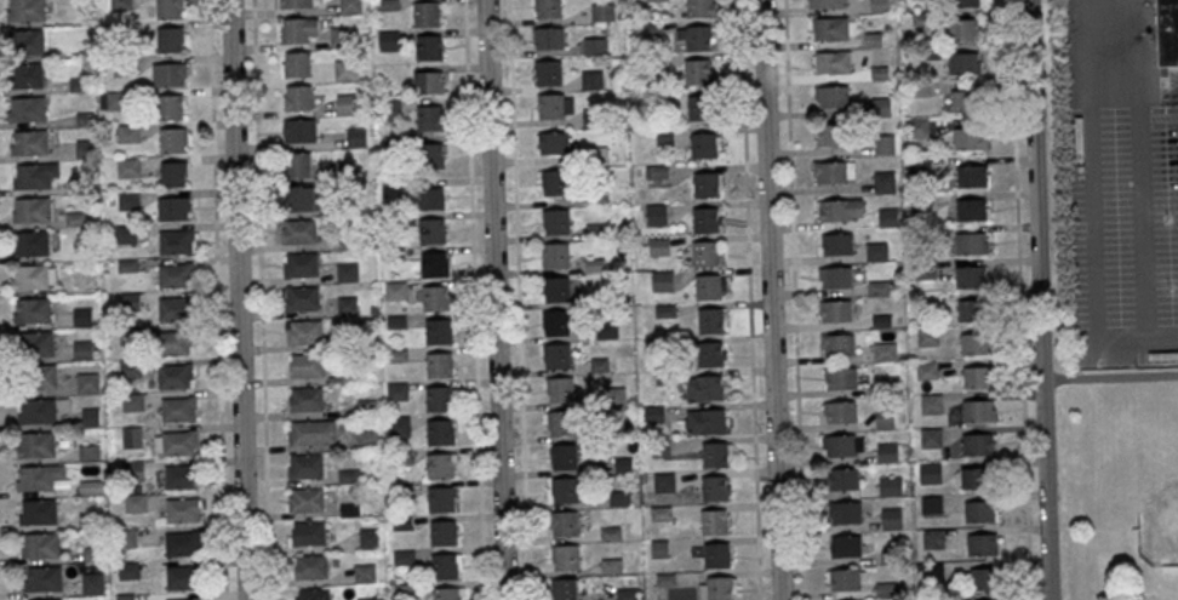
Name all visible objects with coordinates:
building: (828, 2)
building: (966, 2)
building: (294, 4)
building: (879, 5)
building: (349, 6)
building: (171, 8)
building: (548, 8)
building: (699, 8)
building: (25, 10)
building: (602, 12)
building: (428, 13)
building: (831, 28)
building: (299, 29)
building: (965, 29)
building: (1166, 33)
building: (338, 36)
building: (548, 38)
building: (698, 38)
building: (170, 39)
building: (388, 40)
building: (25, 41)
building: (429, 46)
building: (595, 46)
building: (831, 62)
building: (296, 63)
building: (962, 63)
building: (344, 69)
building: (548, 72)
building: (698, 72)
building: (168, 74)
building: (24, 75)
building: (593, 79)
building: (428, 81)
building: (831, 95)
building: (298, 97)
building: (111, 101)
building: (965, 101)
building: (347, 103)
building: (170, 105)
building: (550, 105)
building: (389, 107)
building: (700, 108)
building: (27, 109)
building: (429, 118)
building: (919, 127)
building: (299, 130)
building: (830, 133)
building: (356, 137)
building: (665, 137)
building: (971, 138)
building: (172, 139)
building: (30, 142)
building: (553, 142)
building: (885, 143)
building: (703, 145)
building: (434, 156)
building: (299, 164)
building: (920, 164)
building: (128, 167)
building: (830, 171)
building: (173, 173)
building: (972, 175)
building: (33, 176)
building: (555, 182)
building: (885, 182)
building: (707, 184)
road: (1034, 184)
building: (391, 187)
building: (305, 198)
building: (430, 198)
building: (128, 200)
building: (173, 207)
building: (32, 208)
building: (972, 208)
building: (840, 210)
road: (1096, 211)
building: (657, 215)
building: (705, 219)
building: (556, 221)
building: (298, 230)
building: (431, 230)
parking lot: (1125, 233)
building: (177, 241)
building: (972, 242)
building: (30, 244)
building: (835, 244)
building: (659, 246)
building: (705, 252)
building: (556, 255)
building: (301, 264)
building: (434, 264)
building: (348, 272)
building: (176, 274)
building: (970, 275)
building: (30, 276)
building: (835, 276)
building: (663, 280)
building: (708, 286)
building: (556, 288)
building: (395, 290)
building: (302, 297)
building: (436, 297)
road: (217, 299)
road: (238, 299)
road: (261, 299)
road: (474, 299)
road: (496, 299)
road: (517, 299)
road: (750, 299)
road: (770, 299)
road: (795, 299)
road: (1020, 299)
building: (347, 305)
building: (175, 308)
building: (33, 309)
building: (835, 310)
building: (974, 310)
building: (711, 320)
building: (556, 322)
building: (606, 328)
building: (439, 331)
building: (304, 332)
building: (928, 338)
building: (173, 342)
building: (35, 343)
building: (978, 343)
building: (837, 344)
building: (886, 352)
building: (710, 354)
building: (556, 355)
building: (307, 365)
building: (440, 365)
building: (928, 370)
building: (175, 375)
building: (38, 376)
building: (841, 377)
building: (978, 377)
building: (87, 382)
building: (890, 383)
building: (710, 387)
building: (560, 389)
building: (398, 390)
building: (307, 398)
building: (439, 399)
building: (132, 400)
building: (932, 404)
building: (178, 408)
building: (978, 410)
building: (39, 411)
building: (840, 411)
building: (886, 417)
building: (707, 421)
building: (561, 422)
building: (313, 432)
building: (440, 432)
building: (932, 438)
building: (366, 439)
building: (177, 442)
building: (36, 444)
building: (978, 444)
building: (839, 445)
building: (887, 452)
building: (714, 455)
building: (564, 456)
building: (307, 465)
building: (440, 465)
building: (931, 473)
building: (179, 475)
building: (39, 476)
building: (978, 476)
building: (842, 478)
road: (1045, 484)
park: (1119, 484)
building: (890, 485)
park: (1166, 486)
building: (716, 487)
building: (564, 490)
building: (441, 498)
building: (307, 499)
building: (135, 503)
building: (931, 504)
building: (183, 509)
building: (39, 510)
building: (982, 510)
building: (845, 512)
building: (891, 518)
building: (714, 521)
building: (564, 522)
building: (309, 532)
building: (442, 532)
building: (125, 537)
building: (370, 538)
building: (933, 538)
building: (183, 543)
building: (40, 544)
building: (983, 544)
building: (845, 545)
building: (659, 549)
building: (716, 555)
building: (565, 556)
building: (310, 566)
building: (444, 566)
building: (128, 570)
building: (933, 572)
building: (364, 573)
building: (182, 576)
building: (44, 578)
building: (845, 578)
building: (987, 578)
building: (93, 582)
building: (566, 588)
building: (720, 588)
building: (311, 593)
building: (447, 593)
building: (625, 593)
building: (48, 599)
building: (183, 599)
building: (988, 599)

